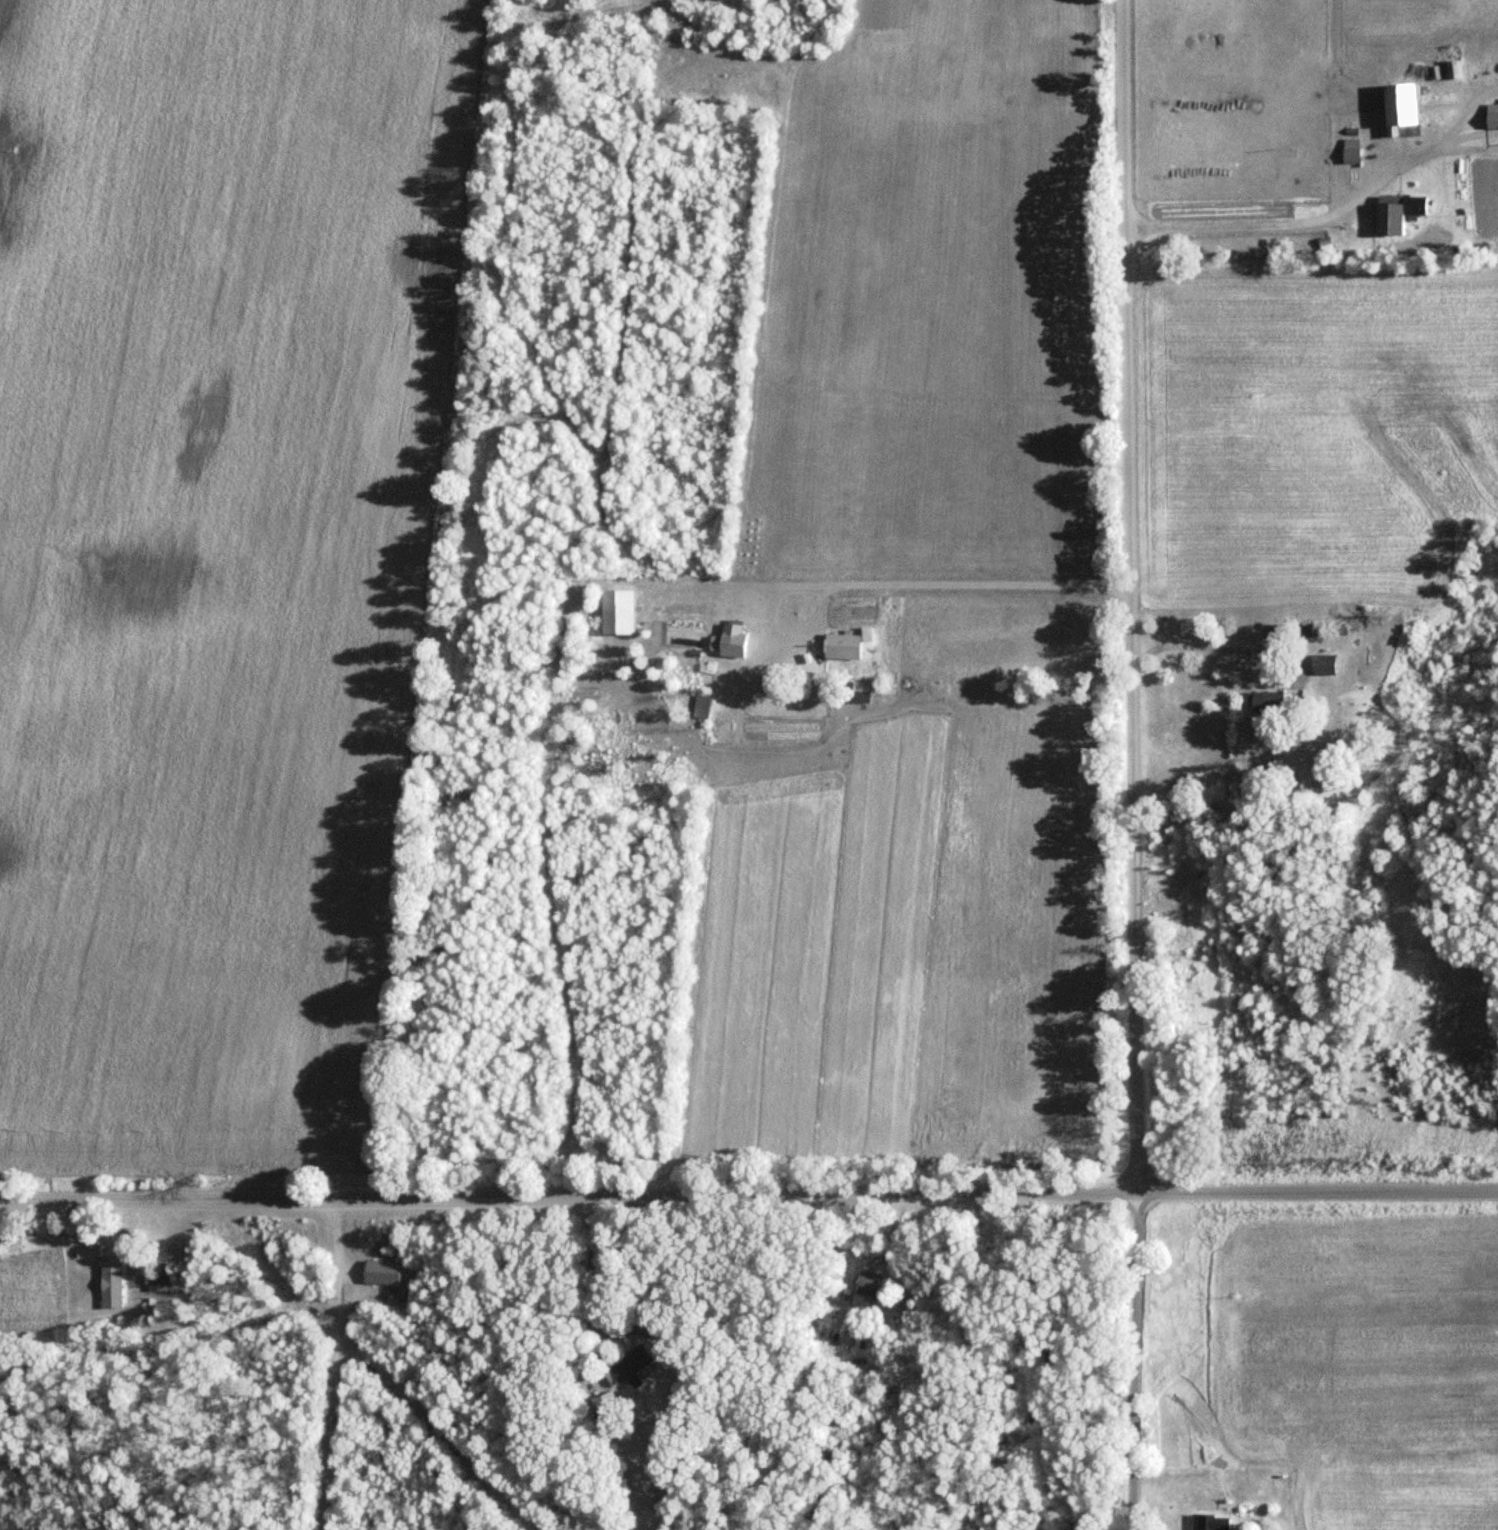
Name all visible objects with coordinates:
building: (1396, 103)
building: (1490, 115)
building: (1348, 151)
building: (1399, 206)
road: (1270, 228)
road: (1122, 596)
road: (1168, 645)
road: (1229, 651)
building: (1320, 665)
building: (1265, 703)
road: (749, 1197)
road: (593, 1259)
building: (380, 1274)
building: (109, 1282)
building: (863, 1282)
building: (155, 1283)
road: (1135, 1360)
building: (628, 1367)
building: (605, 1405)
building: (1210, 1522)

